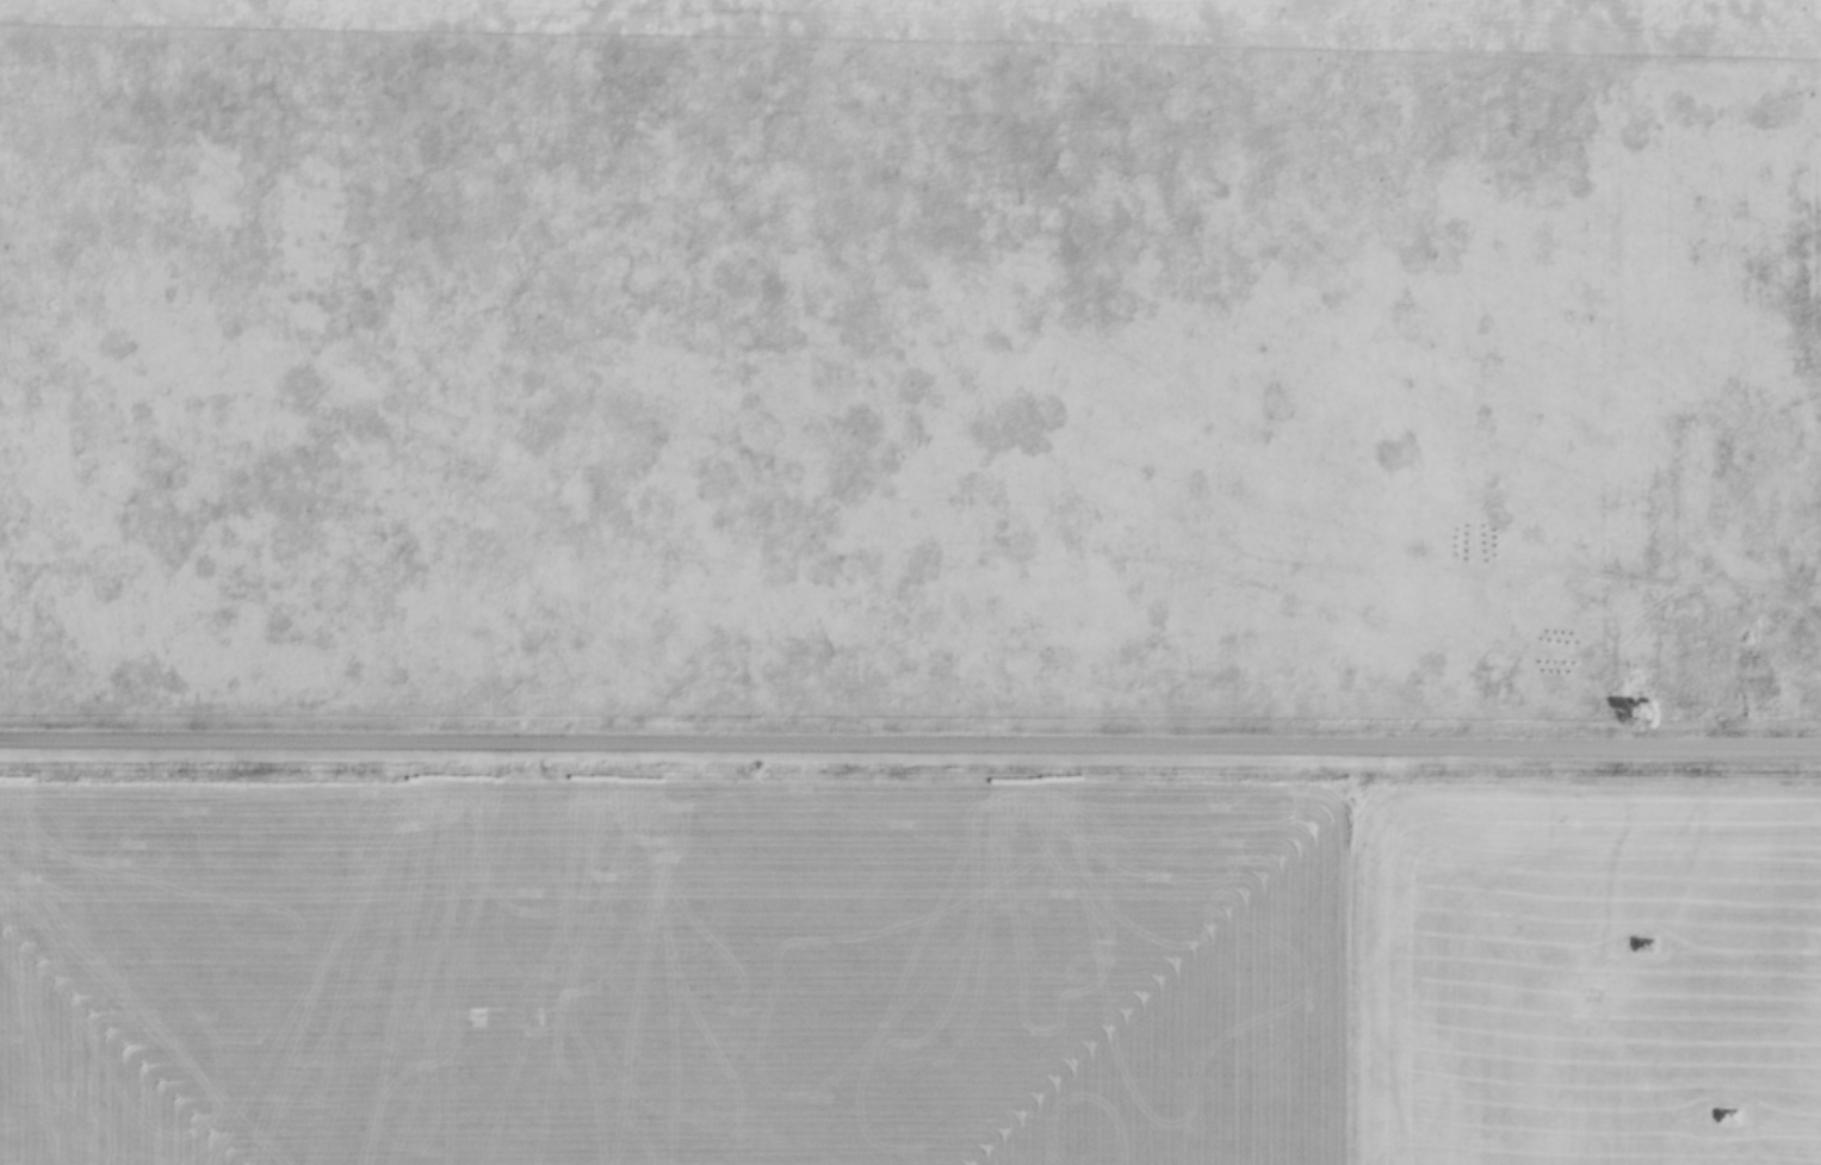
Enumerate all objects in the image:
road: (910, 746)

